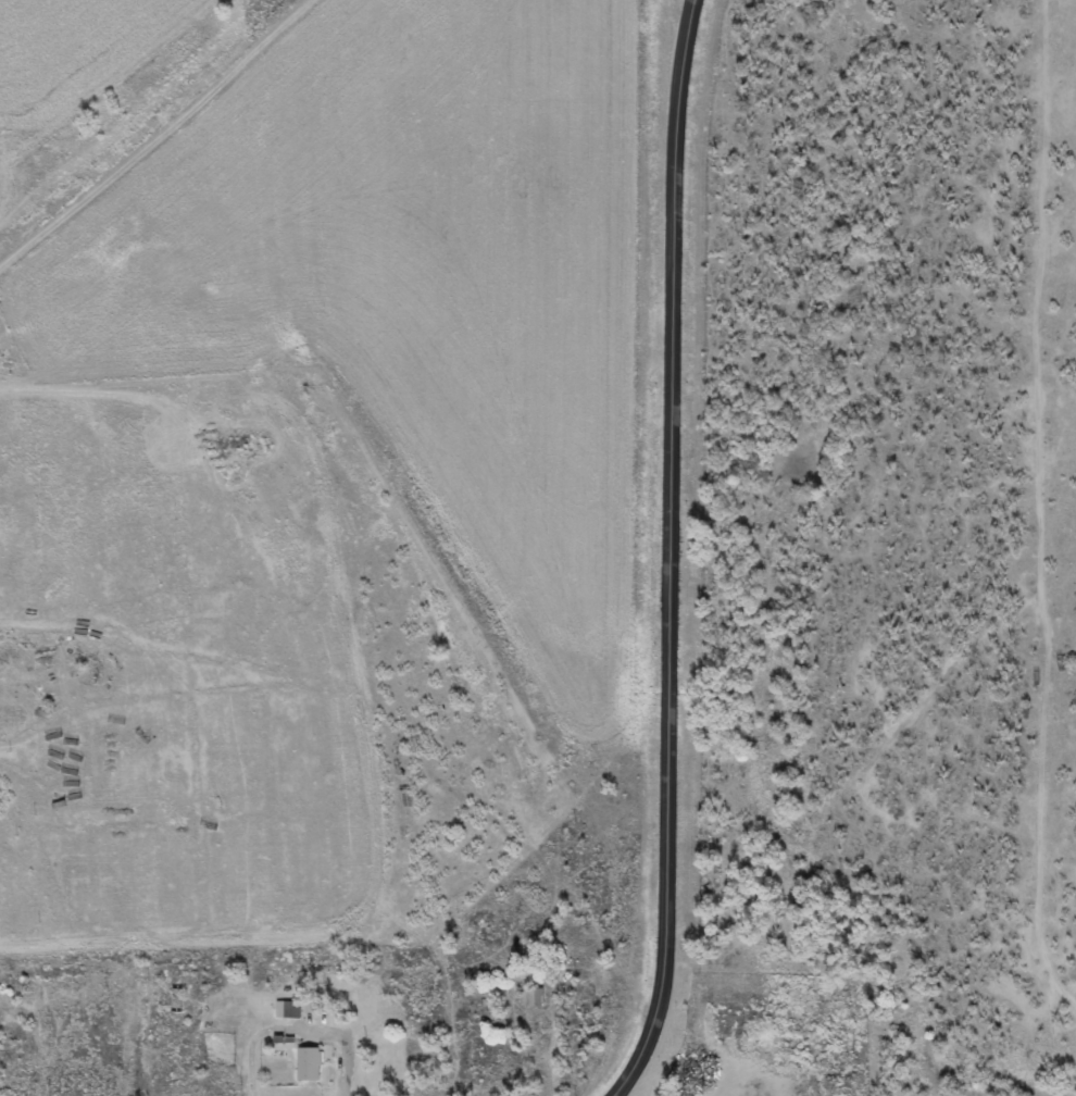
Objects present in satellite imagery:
road: (698, 3)
railway: (161, 134)
road: (675, 552)
road: (886, 745)
road: (750, 877)
building: (534, 998)
building: (290, 1009)
road: (535, 1039)
road: (356, 1061)
building: (310, 1064)
road: (561, 1073)

